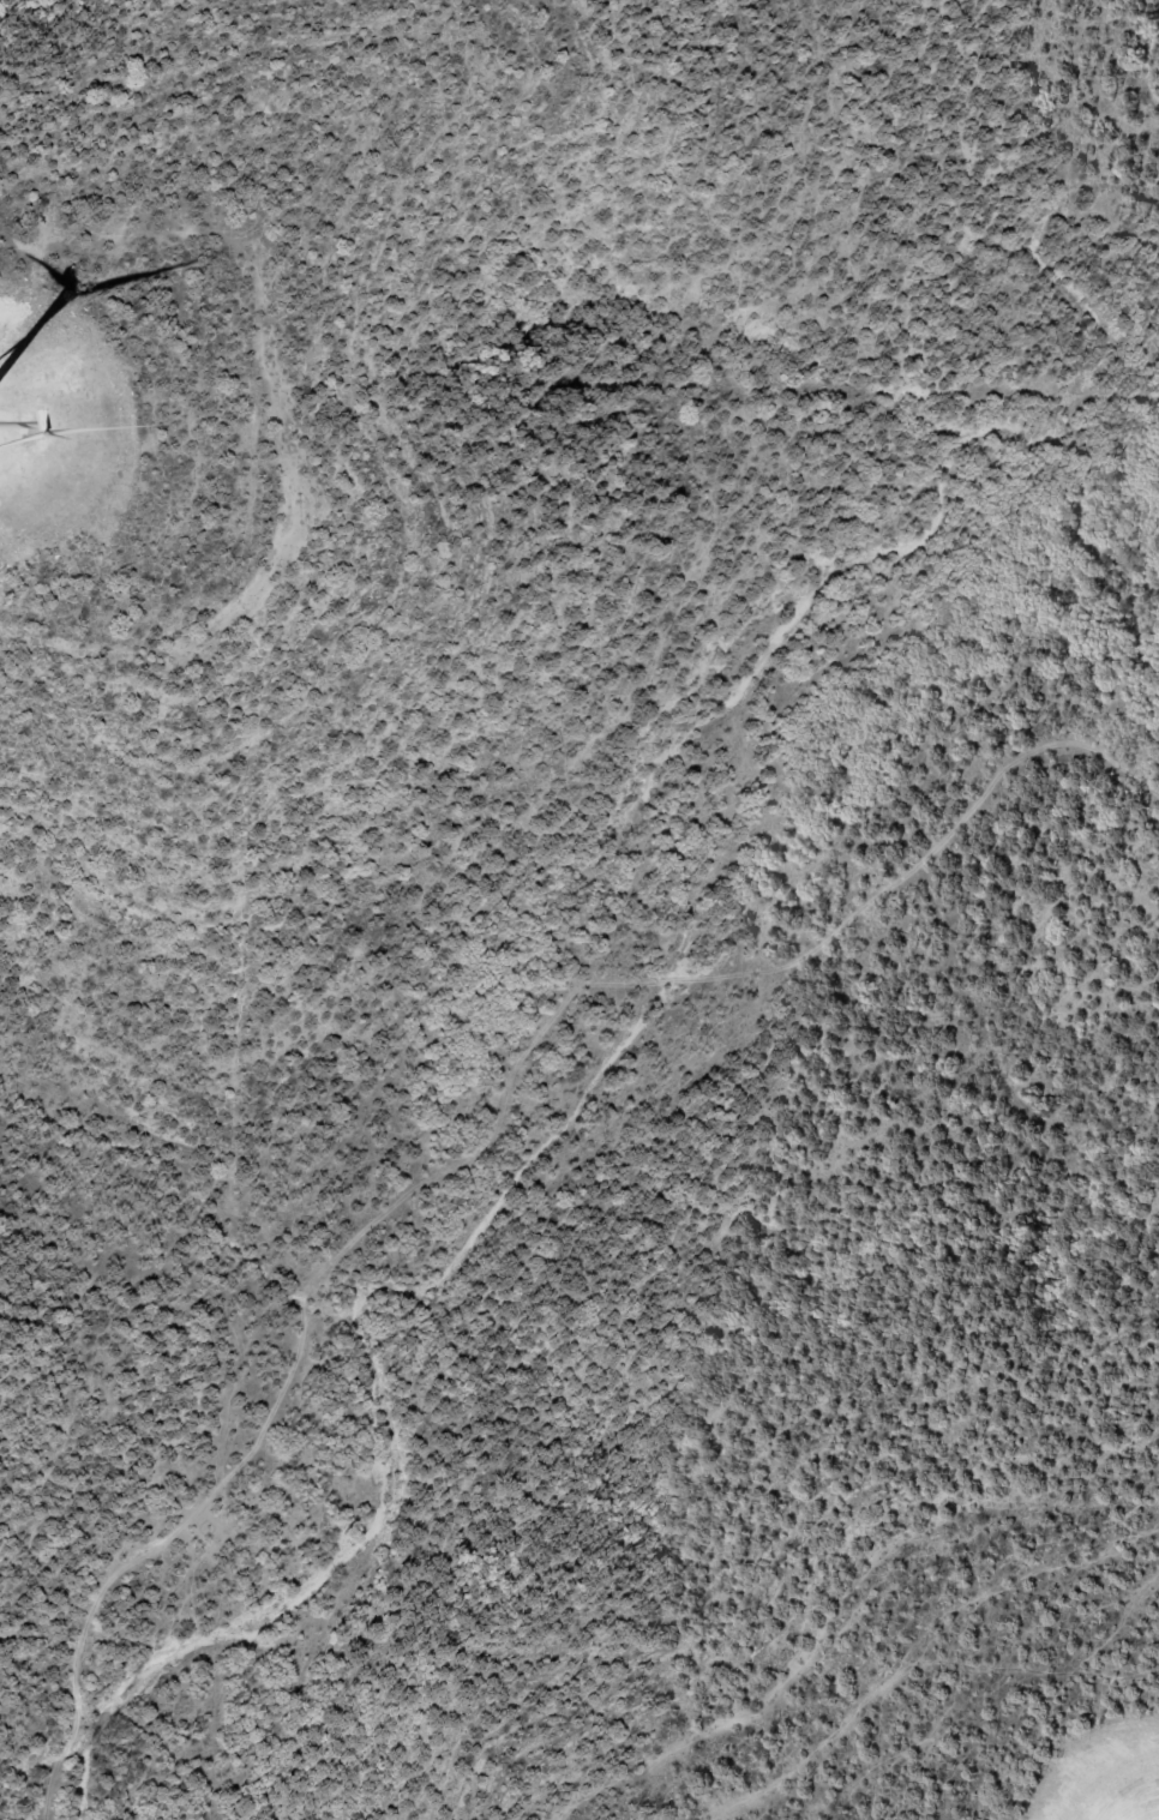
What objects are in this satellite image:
road: (438, 1121)

